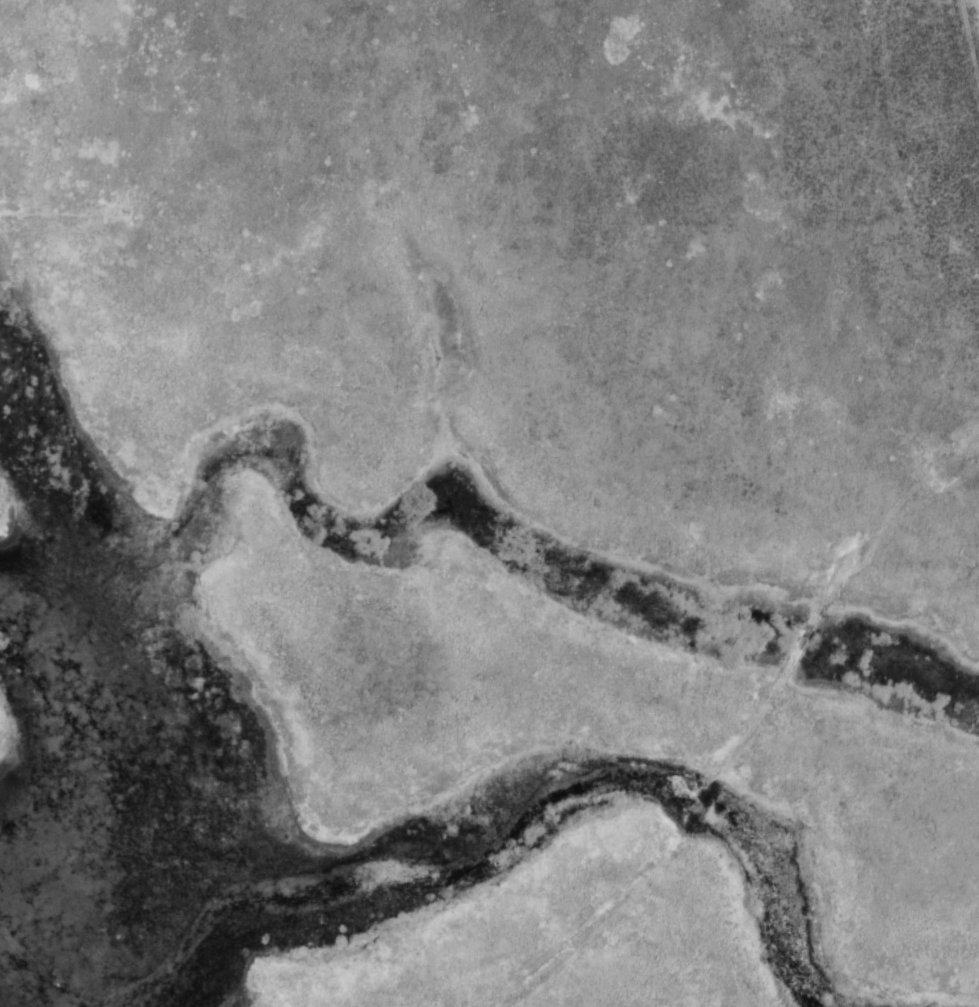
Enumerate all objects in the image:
crop: (489, 503)

